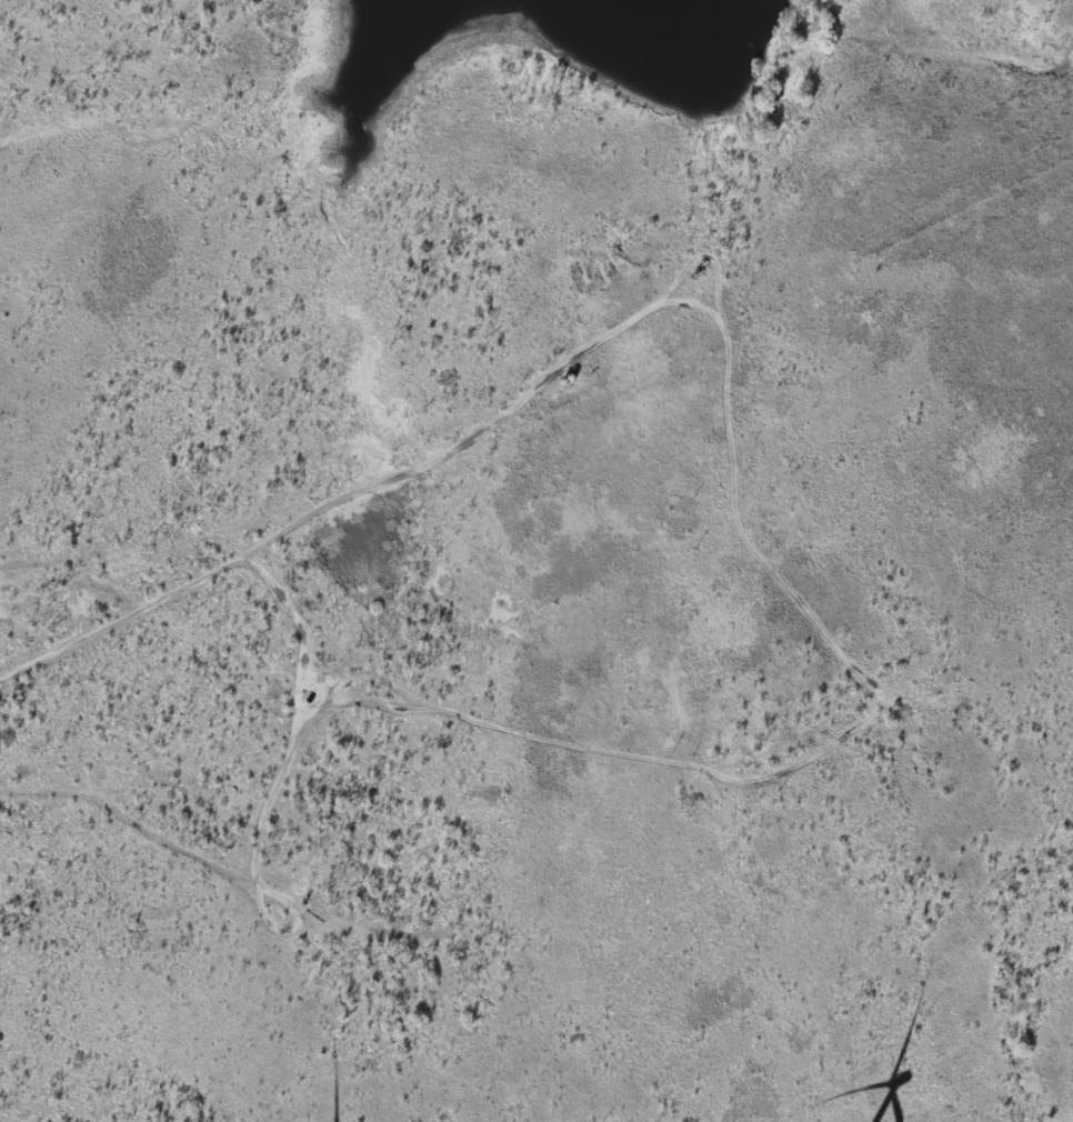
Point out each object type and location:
road: (312, 534)

